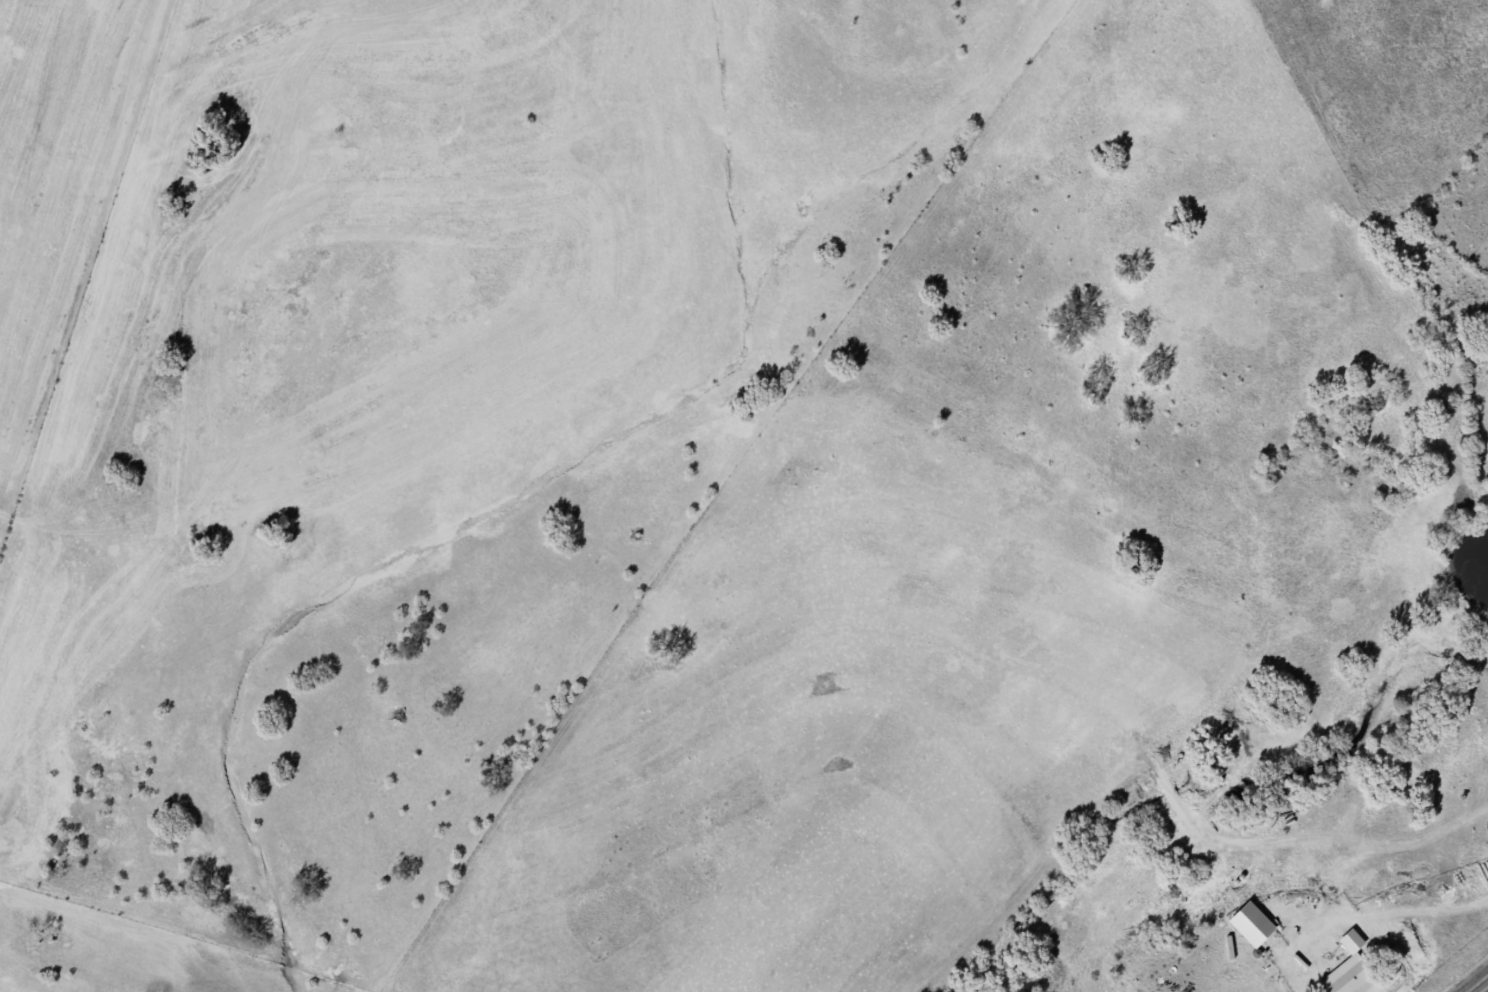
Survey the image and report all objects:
building: (1252, 928)
road: (1390, 962)
building: (1343, 978)
road: (1477, 983)

